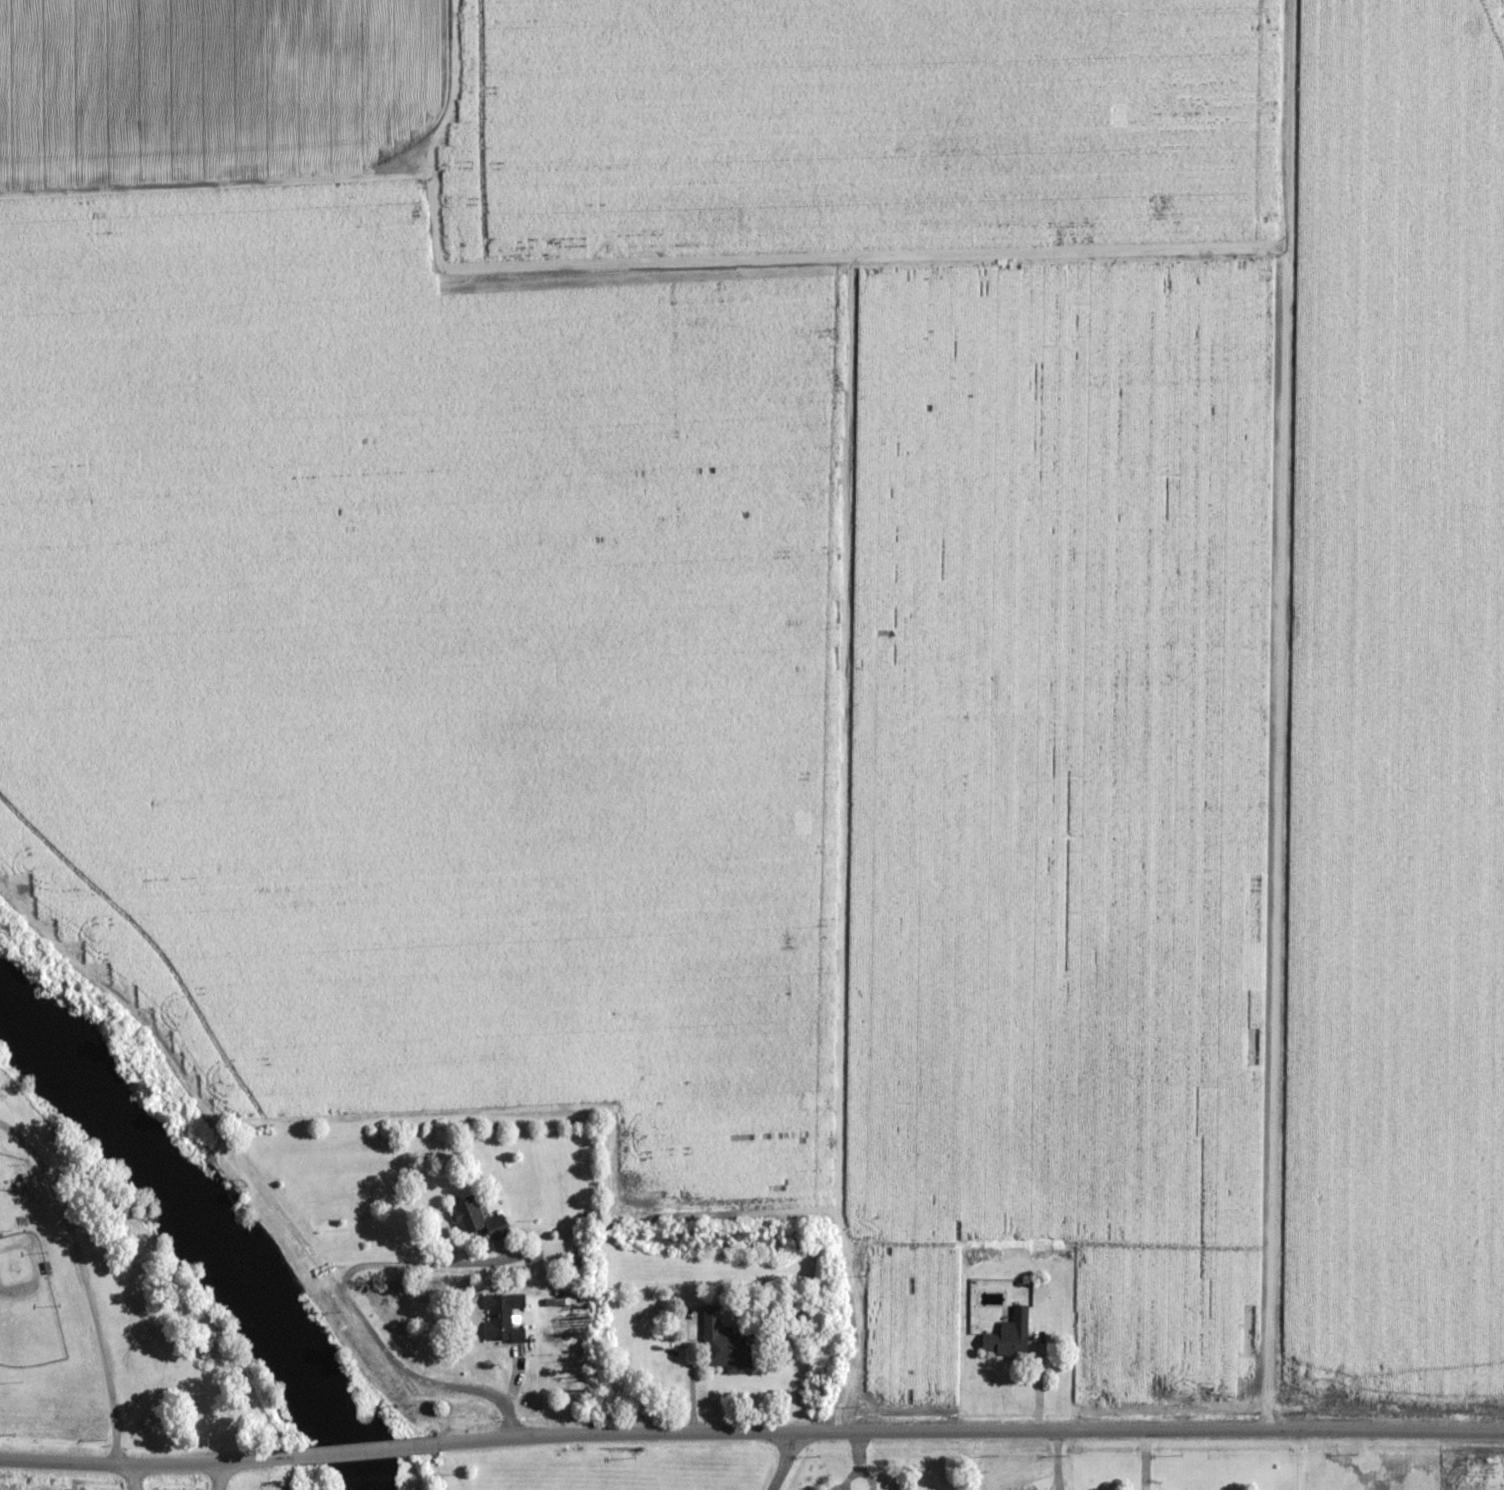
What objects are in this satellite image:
road: (104, 982)
building: (477, 1219)
river: (208, 1227)
building: (503, 1318)
building: (1004, 1344)
building: (726, 1345)
road: (434, 1382)
road: (957, 1432)
road: (356, 1452)
road: (782, 1462)
road: (150, 1466)

